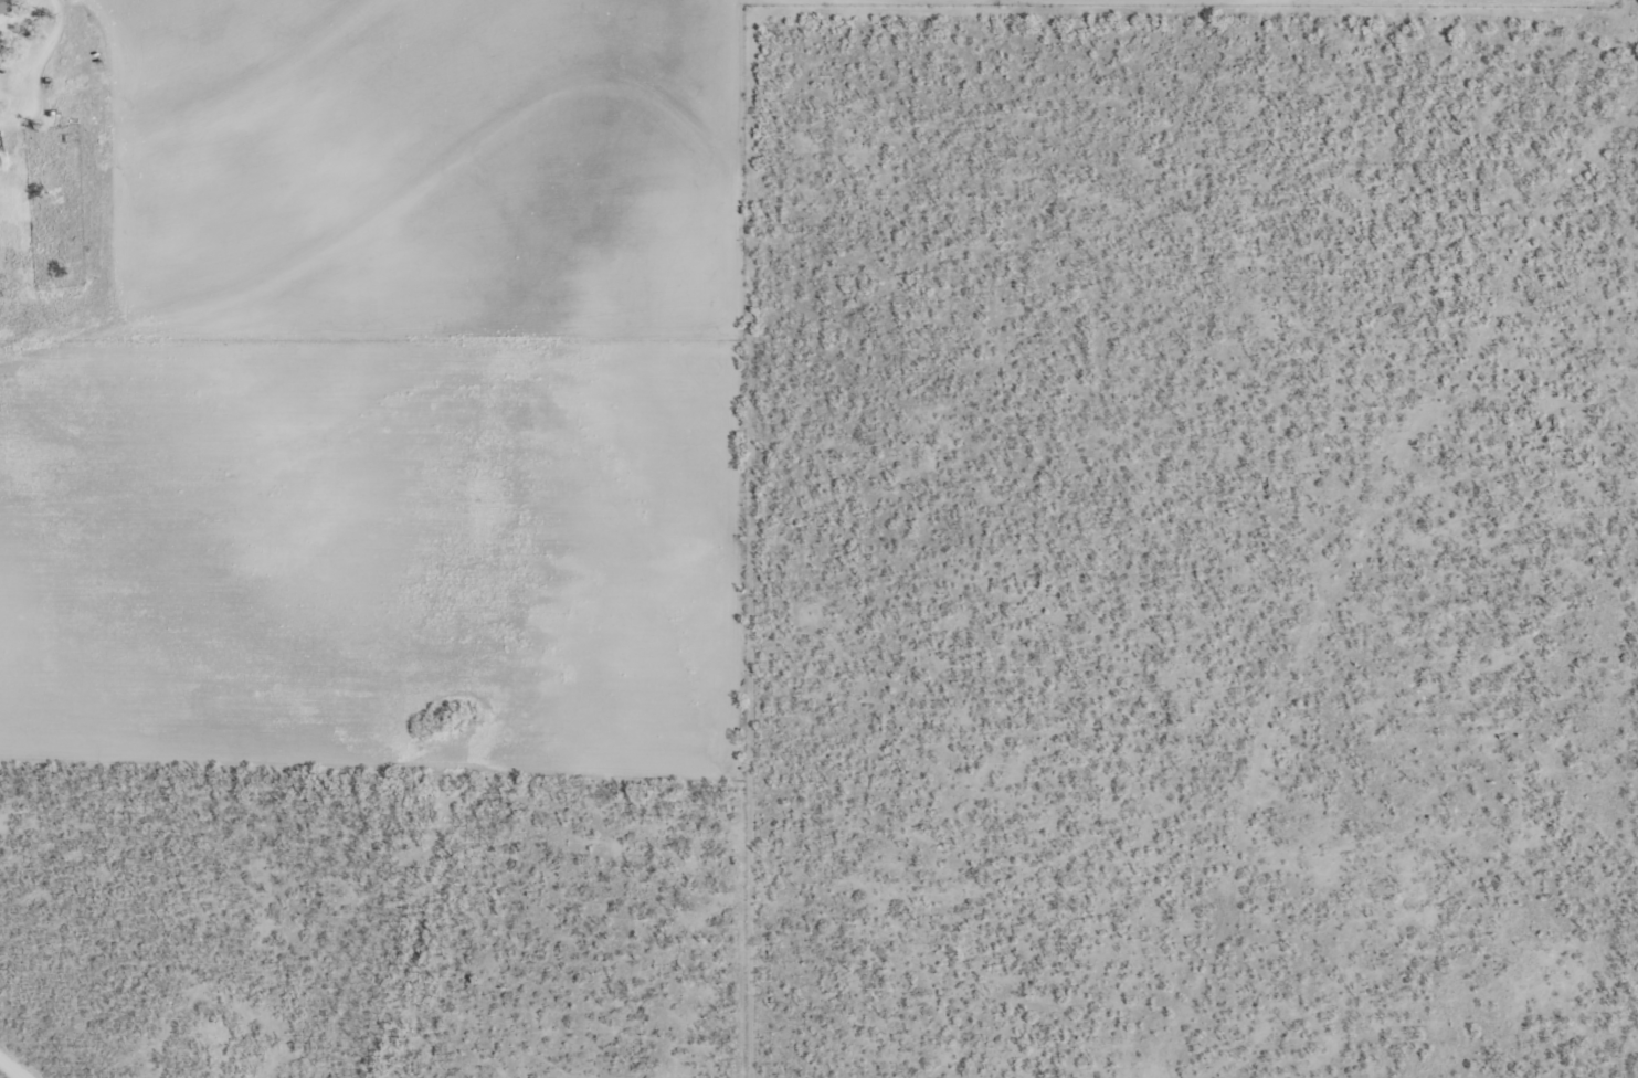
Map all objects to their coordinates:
building: (2, 6)

